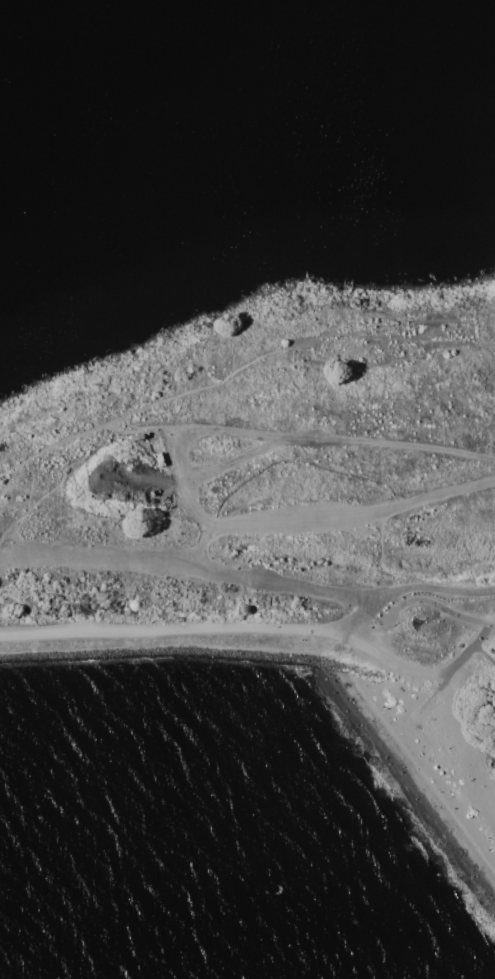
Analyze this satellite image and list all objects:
road: (245, 369)
park: (152, 503)
road: (330, 506)
park: (400, 553)
road: (184, 565)
road: (430, 588)
road: (438, 606)
road: (193, 629)
road: (423, 673)
road: (444, 684)

